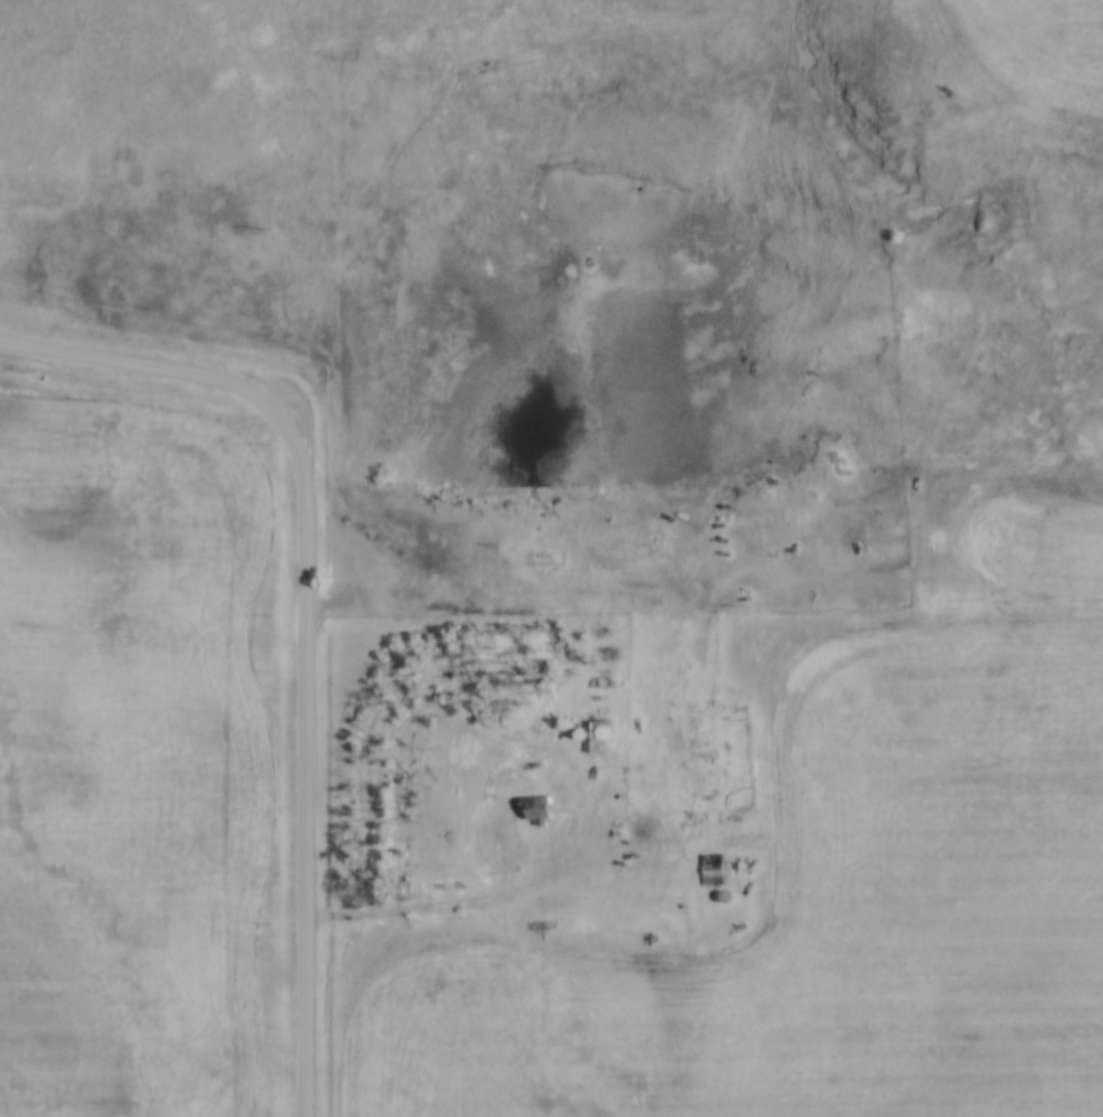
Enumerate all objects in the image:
road: (151, 360)
building: (601, 736)
road: (308, 766)
building: (544, 808)
building: (719, 868)
road: (479, 895)

